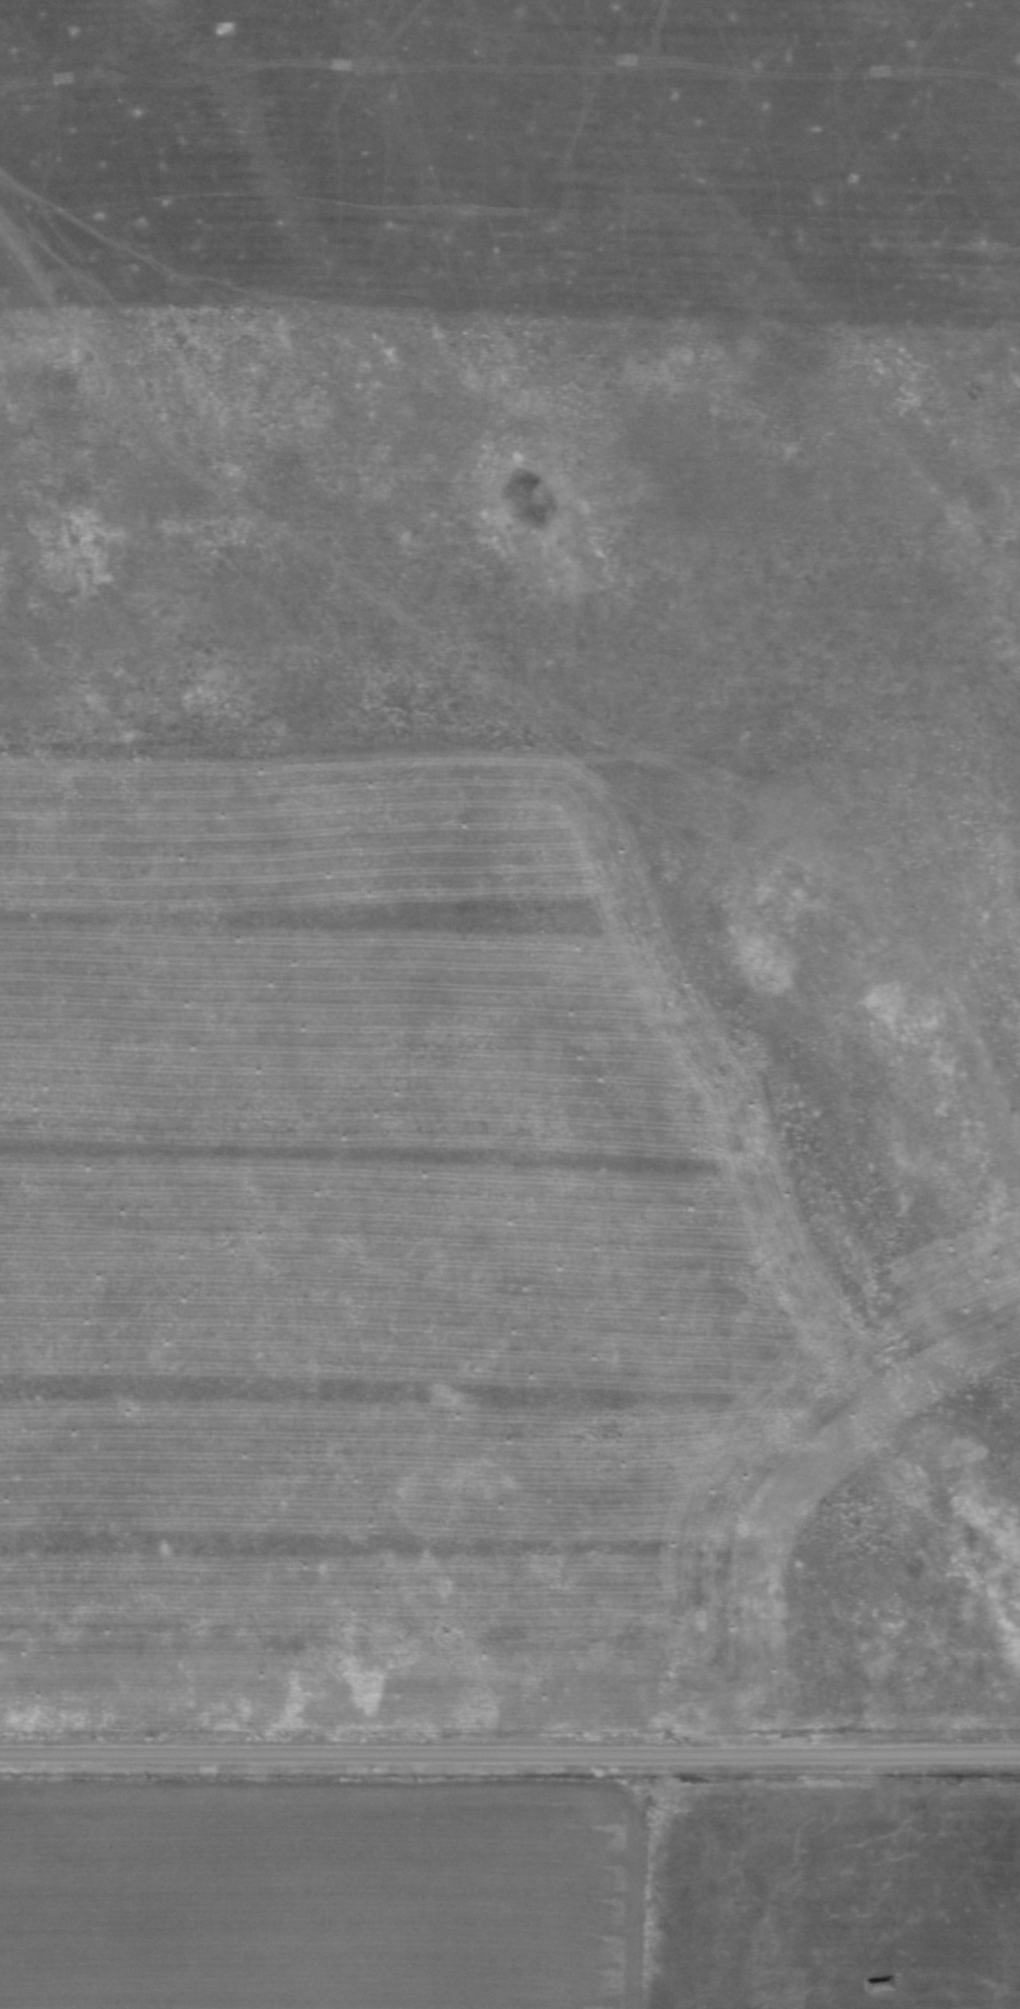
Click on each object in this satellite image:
road: (510, 1756)
crop: (321, 1899)

